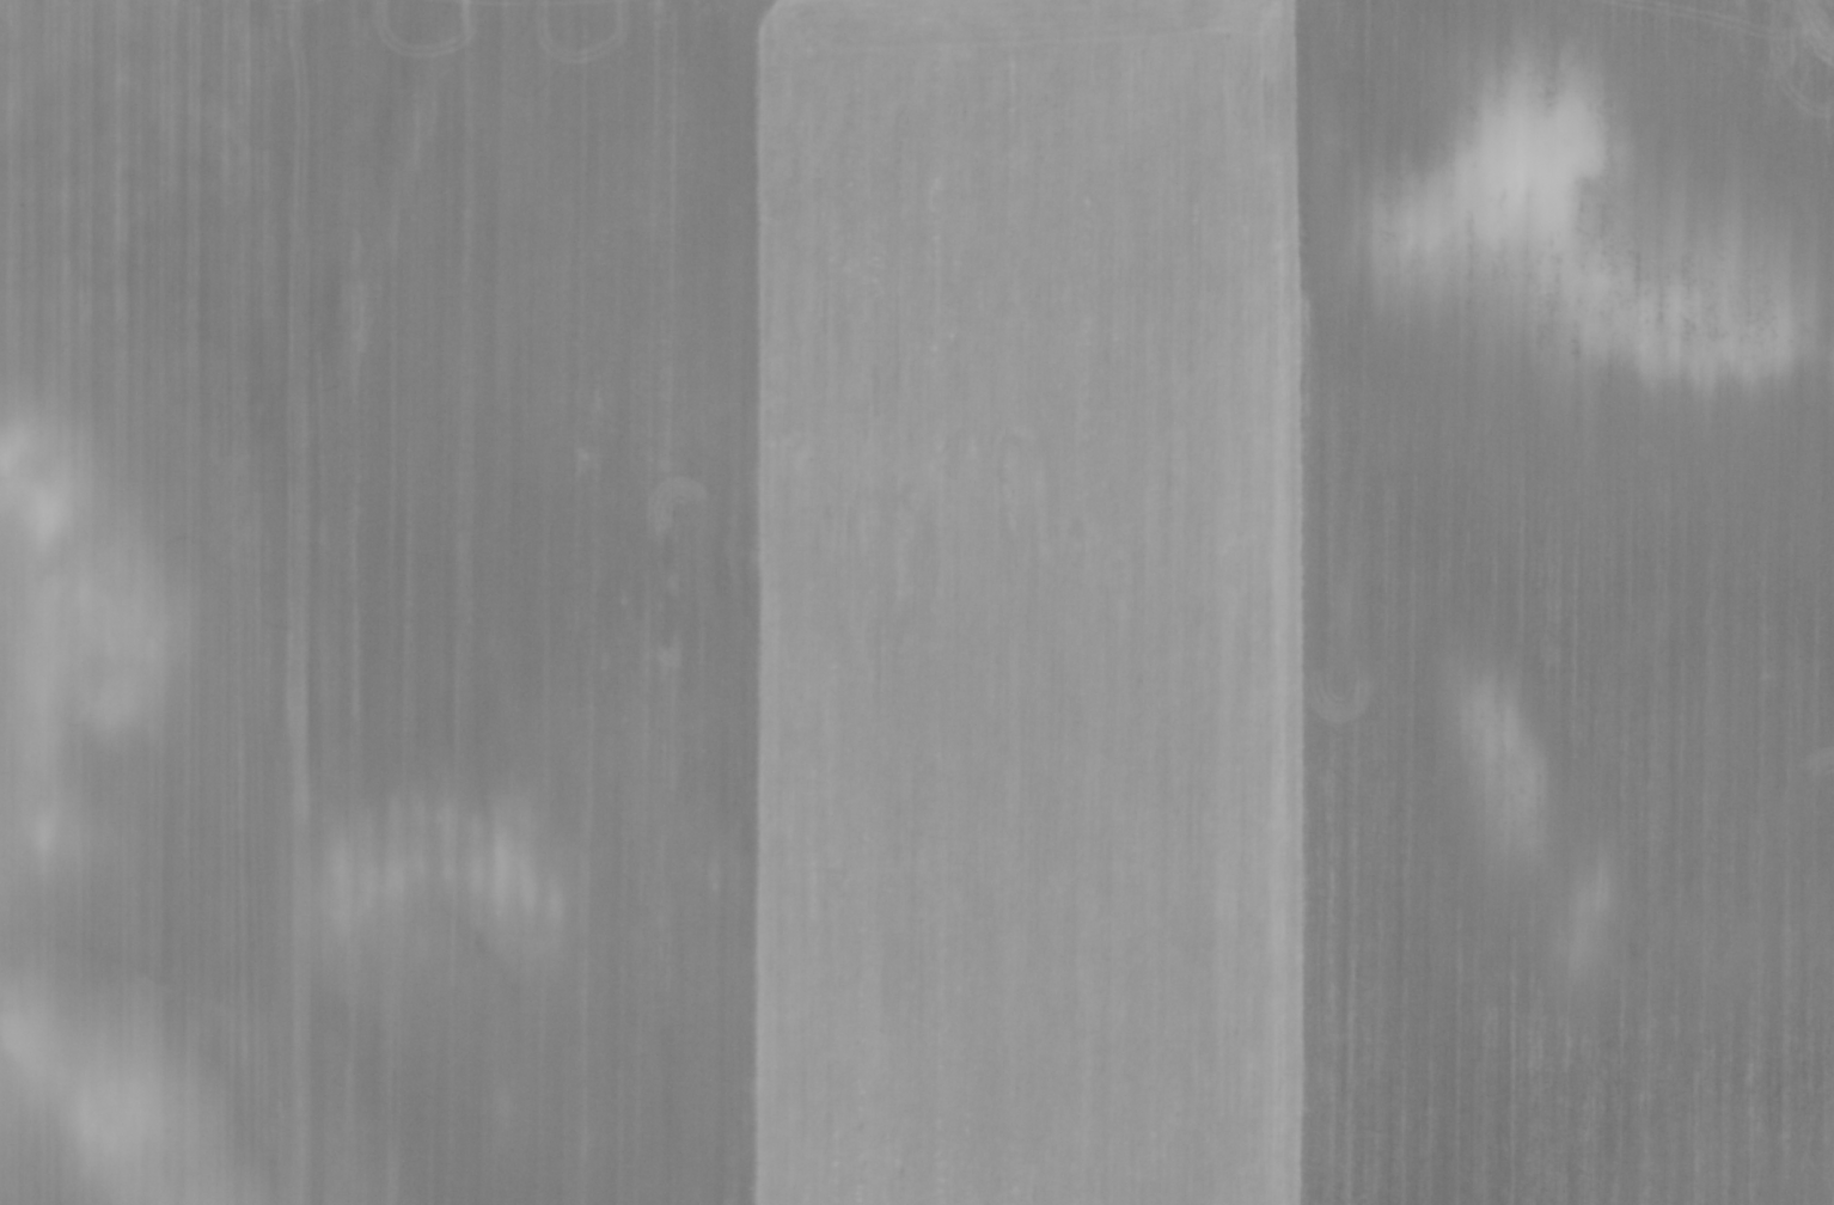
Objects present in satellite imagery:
crop: (917, 602)

